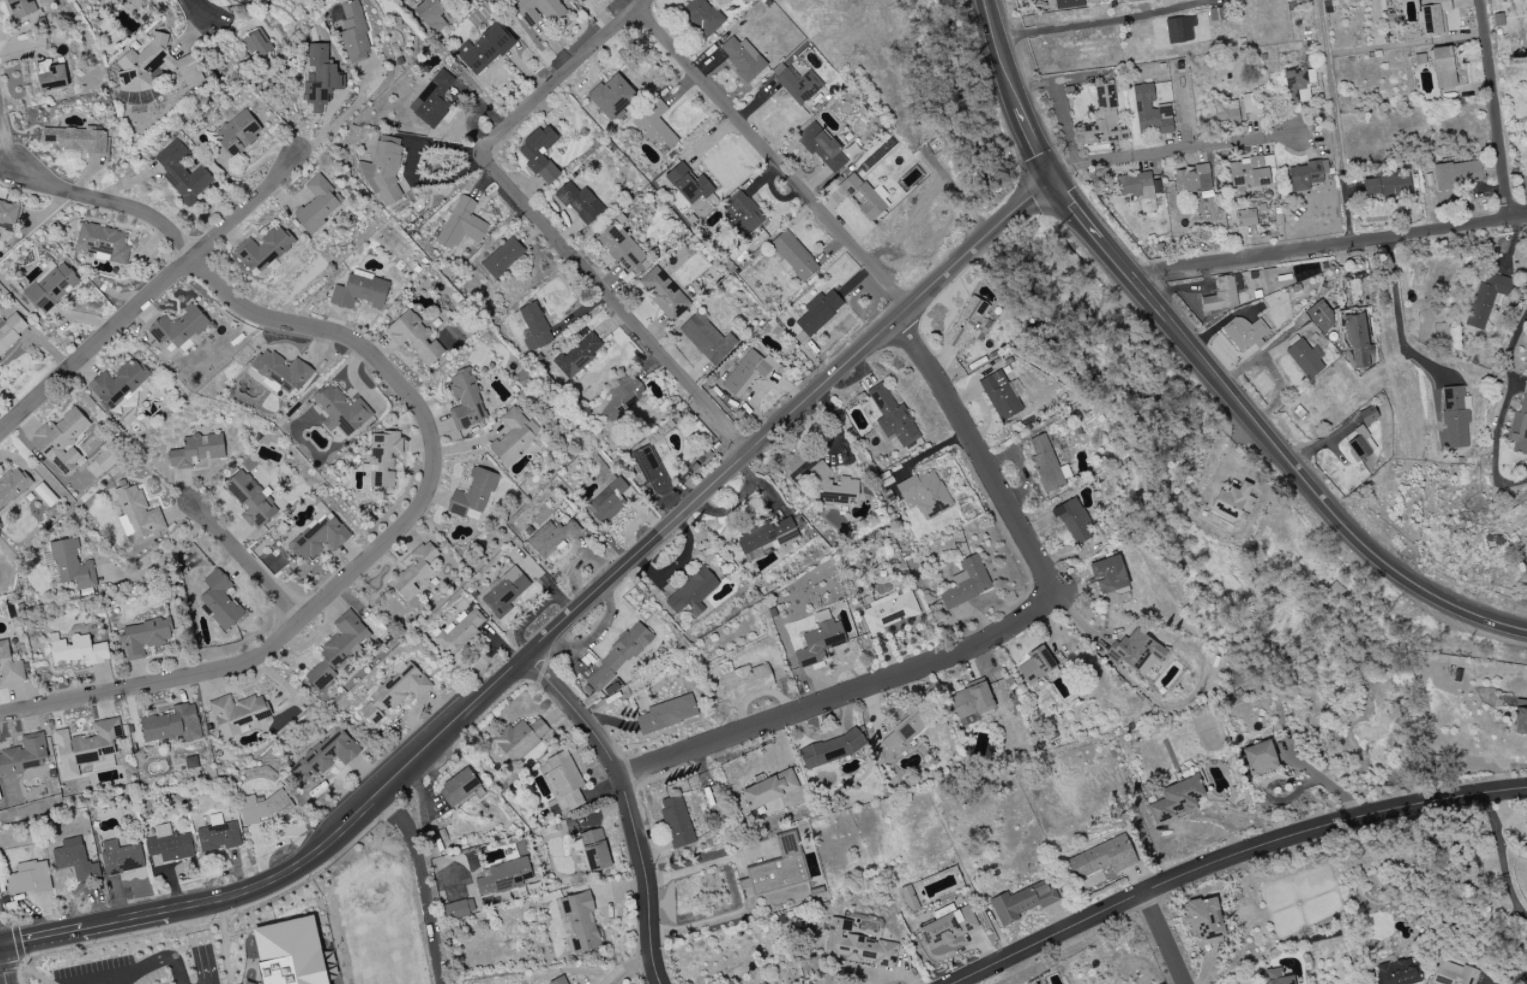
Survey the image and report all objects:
building: (91, 0)
building: (231, 0)
building: (582, 1)
building: (105, 4)
building: (136, 4)
building: (1068, 4)
building: (20, 8)
road: (199, 10)
building: (539, 11)
building: (1216, 14)
building: (431, 15)
building: (702, 16)
building: (1432, 16)
building: (1498, 20)
road: (1077, 26)
building: (1180, 29)
building: (354, 34)
building: (258, 44)
building: (484, 49)
road: (998, 54)
building: (742, 58)
building: (153, 66)
building: (1443, 67)
building: (52, 77)
building: (320, 78)
building: (1296, 82)
building: (797, 84)
building: (612, 96)
building: (433, 100)
building: (1250, 103)
road: (1495, 110)
building: (1150, 111)
building: (1220, 114)
road: (346, 118)
building: (1105, 119)
road: (1337, 122)
building: (656, 128)
building: (238, 133)
building: (79, 140)
road: (1032, 144)
building: (821, 147)
road: (1170, 150)
road: (8, 151)
building: (540, 154)
road: (772, 157)
building: (383, 169)
building: (182, 172)
building: (1252, 172)
building: (1457, 174)
building: (1307, 175)
traffic signals: (1051, 179)
building: (1192, 179)
building: (689, 184)
building: (1388, 184)
building: (1135, 185)
building: (864, 196)
building: (580, 202)
building: (318, 204)
road: (111, 205)
road: (1075, 209)
building: (9, 214)
building: (742, 215)
building: (1246, 218)
road: (545, 223)
building: (461, 225)
building: (104, 243)
road: (1328, 247)
building: (263, 250)
building: (623, 251)
building: (793, 256)
building: (503, 257)
building: (1305, 272)
building: (50, 288)
building: (360, 291)
building: (664, 293)
building: (1223, 294)
road: (149, 296)
building: (1486, 298)
building: (819, 312)
building: (1320, 317)
road: (1398, 320)
building: (969, 324)
building: (535, 327)
building: (180, 328)
building: (11, 331)
road: (335, 331)
building: (1244, 333)
building: (415, 337)
building: (707, 339)
building: (1357, 342)
road: (1514, 342)
building: (578, 356)
building: (1304, 359)
building: (282, 371)
building: (748, 372)
road: (1515, 381)
building: (118, 384)
building: (1002, 395)
building: (622, 398)
building: (465, 401)
building: (341, 411)
road: (787, 417)
building: (893, 417)
building: (1455, 417)
building: (1519, 427)
building: (514, 436)
building: (62, 441)
road: (1495, 444)
building: (1360, 445)
building: (196, 451)
road: (978, 452)
building: (105, 458)
building: (384, 458)
road: (1291, 463)
building: (1045, 464)
building: (652, 473)
building: (12, 485)
road: (760, 485)
building: (833, 487)
building: (474, 493)
building: (923, 493)
building: (250, 499)
building: (608, 501)
road: (731, 505)
building: (1233, 505)
building: (136, 513)
building: (1074, 520)
building: (552, 537)
building: (320, 538)
road: (248, 562)
road: (158, 563)
building: (72, 565)
building: (693, 569)
building: (416, 571)
building: (1109, 575)
building: (966, 583)
building: (505, 591)
building: (693, 593)
building: (220, 600)
building: (889, 613)
building: (374, 626)
building: (460, 631)
building: (143, 637)
building: (820, 641)
building: (337, 649)
building: (77, 650)
building: (1137, 652)
road: (260, 658)
building: (618, 658)
building: (1036, 665)
building: (9, 667)
building: (746, 680)
building: (395, 692)
road: (842, 694)
building: (972, 703)
building: (237, 714)
building: (667, 714)
building: (1520, 717)
building: (173, 724)
building: (903, 732)
building: (521, 739)
building: (86, 748)
building: (831, 750)
building: (24, 756)
building: (325, 756)
building: (1259, 758)
road: (388, 787)
building: (459, 788)
building: (769, 789)
building: (1176, 800)
road: (625, 804)
building: (264, 808)
building: (677, 822)
building: (218, 835)
building: (170, 844)
building: (595, 850)
building: (121, 858)
building: (1101, 858)
road: (1233, 859)
road: (1502, 859)
building: (75, 860)
road: (706, 866)
building: (779, 868)
road: (742, 869)
building: (503, 877)
building: (28, 879)
road: (421, 883)
road: (747, 885)
park: (371, 892)
building: (909, 898)
building: (1021, 902)
road: (196, 903)
building: (459, 909)
road: (124, 919)
building: (578, 921)
building: (1203, 921)
road: (710, 924)
building: (949, 928)
park: (363, 934)
road: (44, 936)
road: (1164, 939)
road: (199, 944)
building: (857, 946)
building: (290, 953)
parking lot: (119, 966)
road: (3, 967)
road: (135, 971)
building: (1396, 972)
building: (1452, 974)
building: (1277, 977)
road: (1515, 978)
building: (560, 980)
road: (964, 982)
building: (749, 983)
building: (763, 983)

